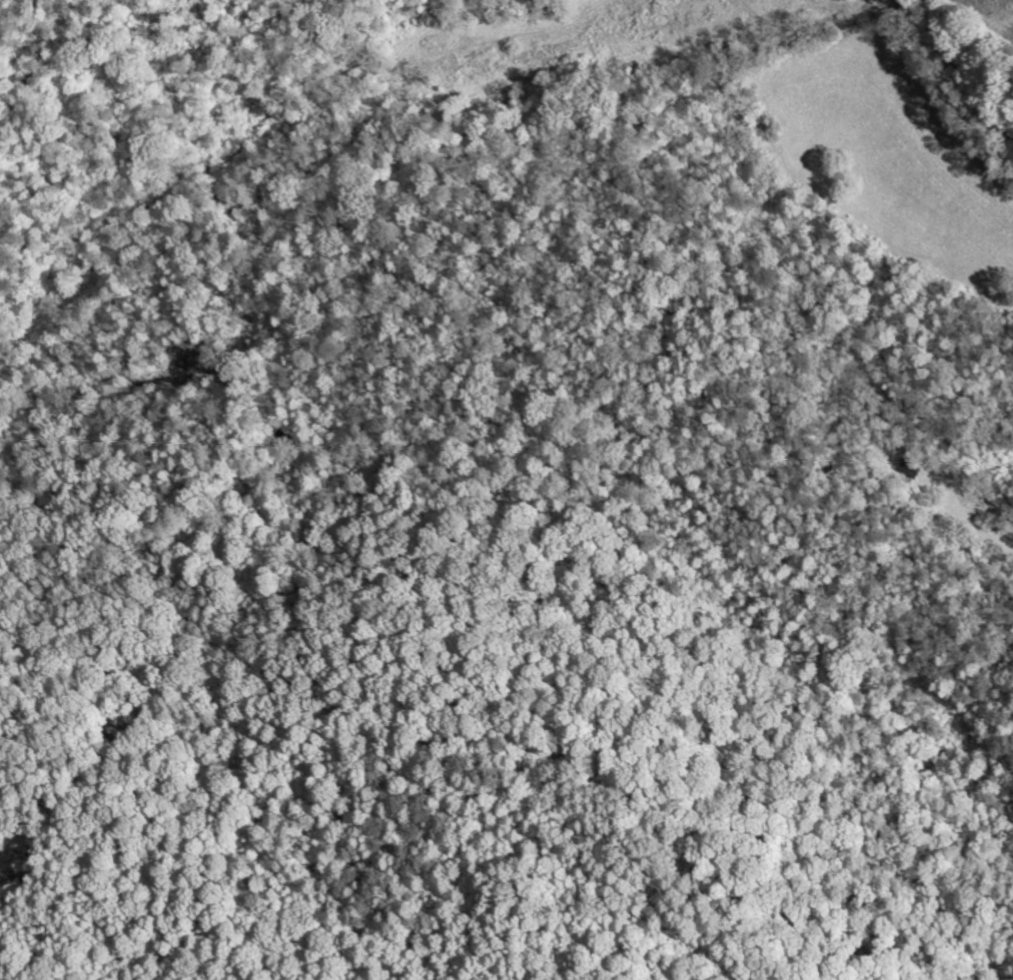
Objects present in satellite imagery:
road: (963, 75)

